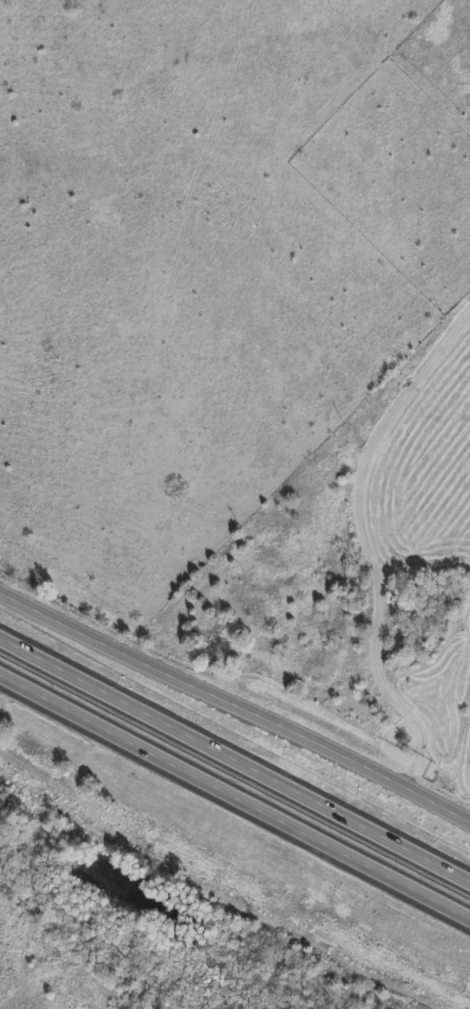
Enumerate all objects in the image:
road: (365, 542)
road: (235, 705)
road: (235, 757)
road: (235, 797)

